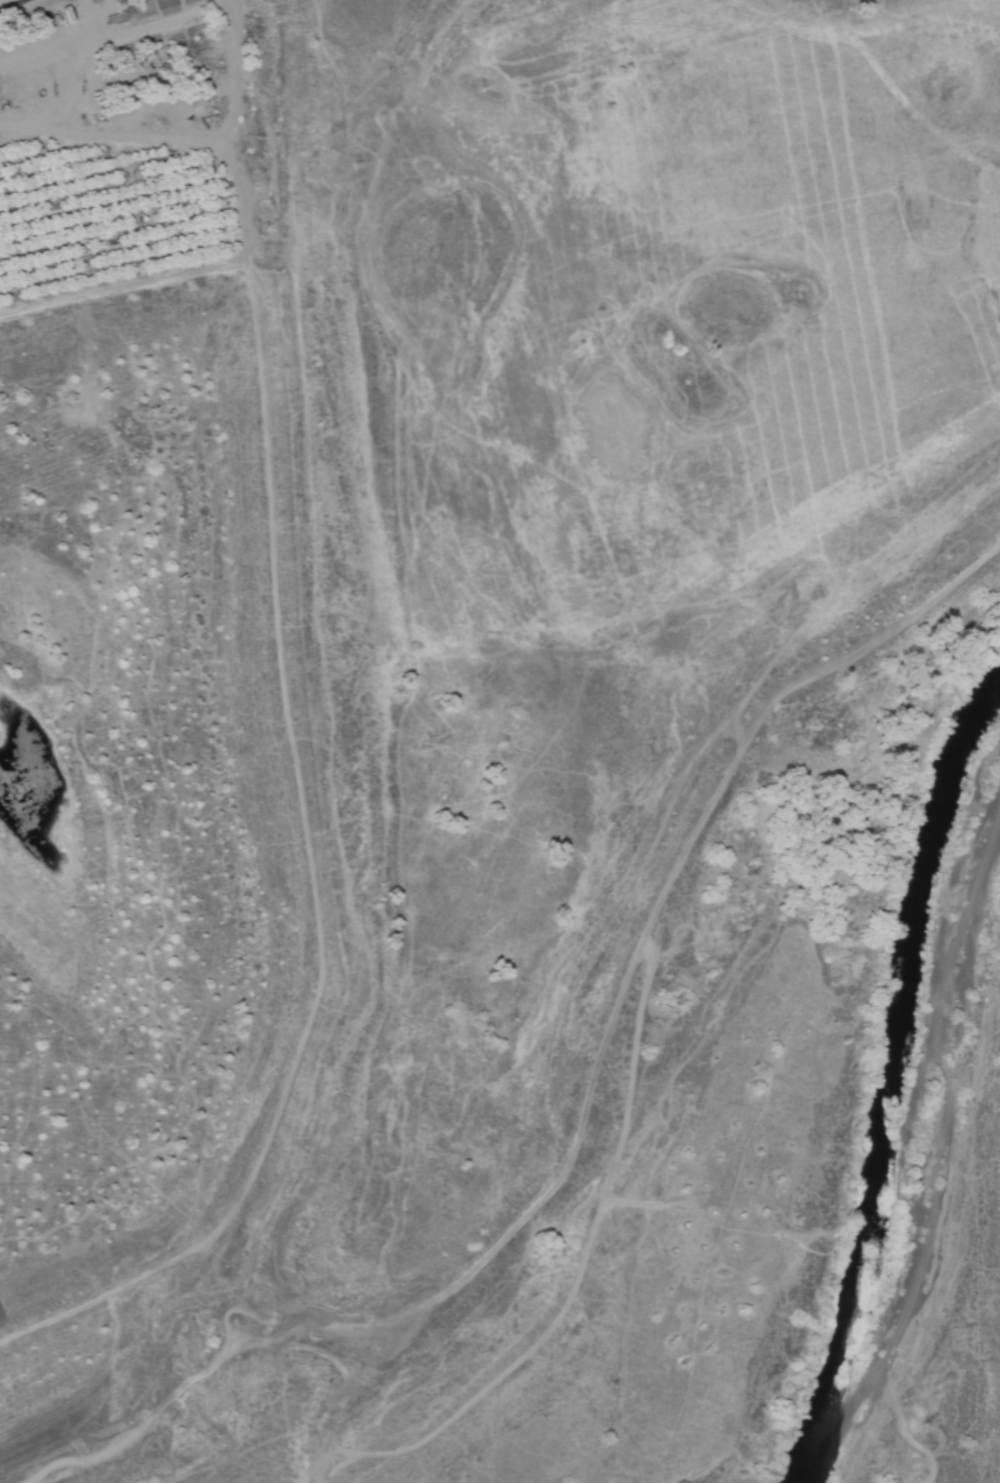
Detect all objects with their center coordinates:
river: (895, 1103)

